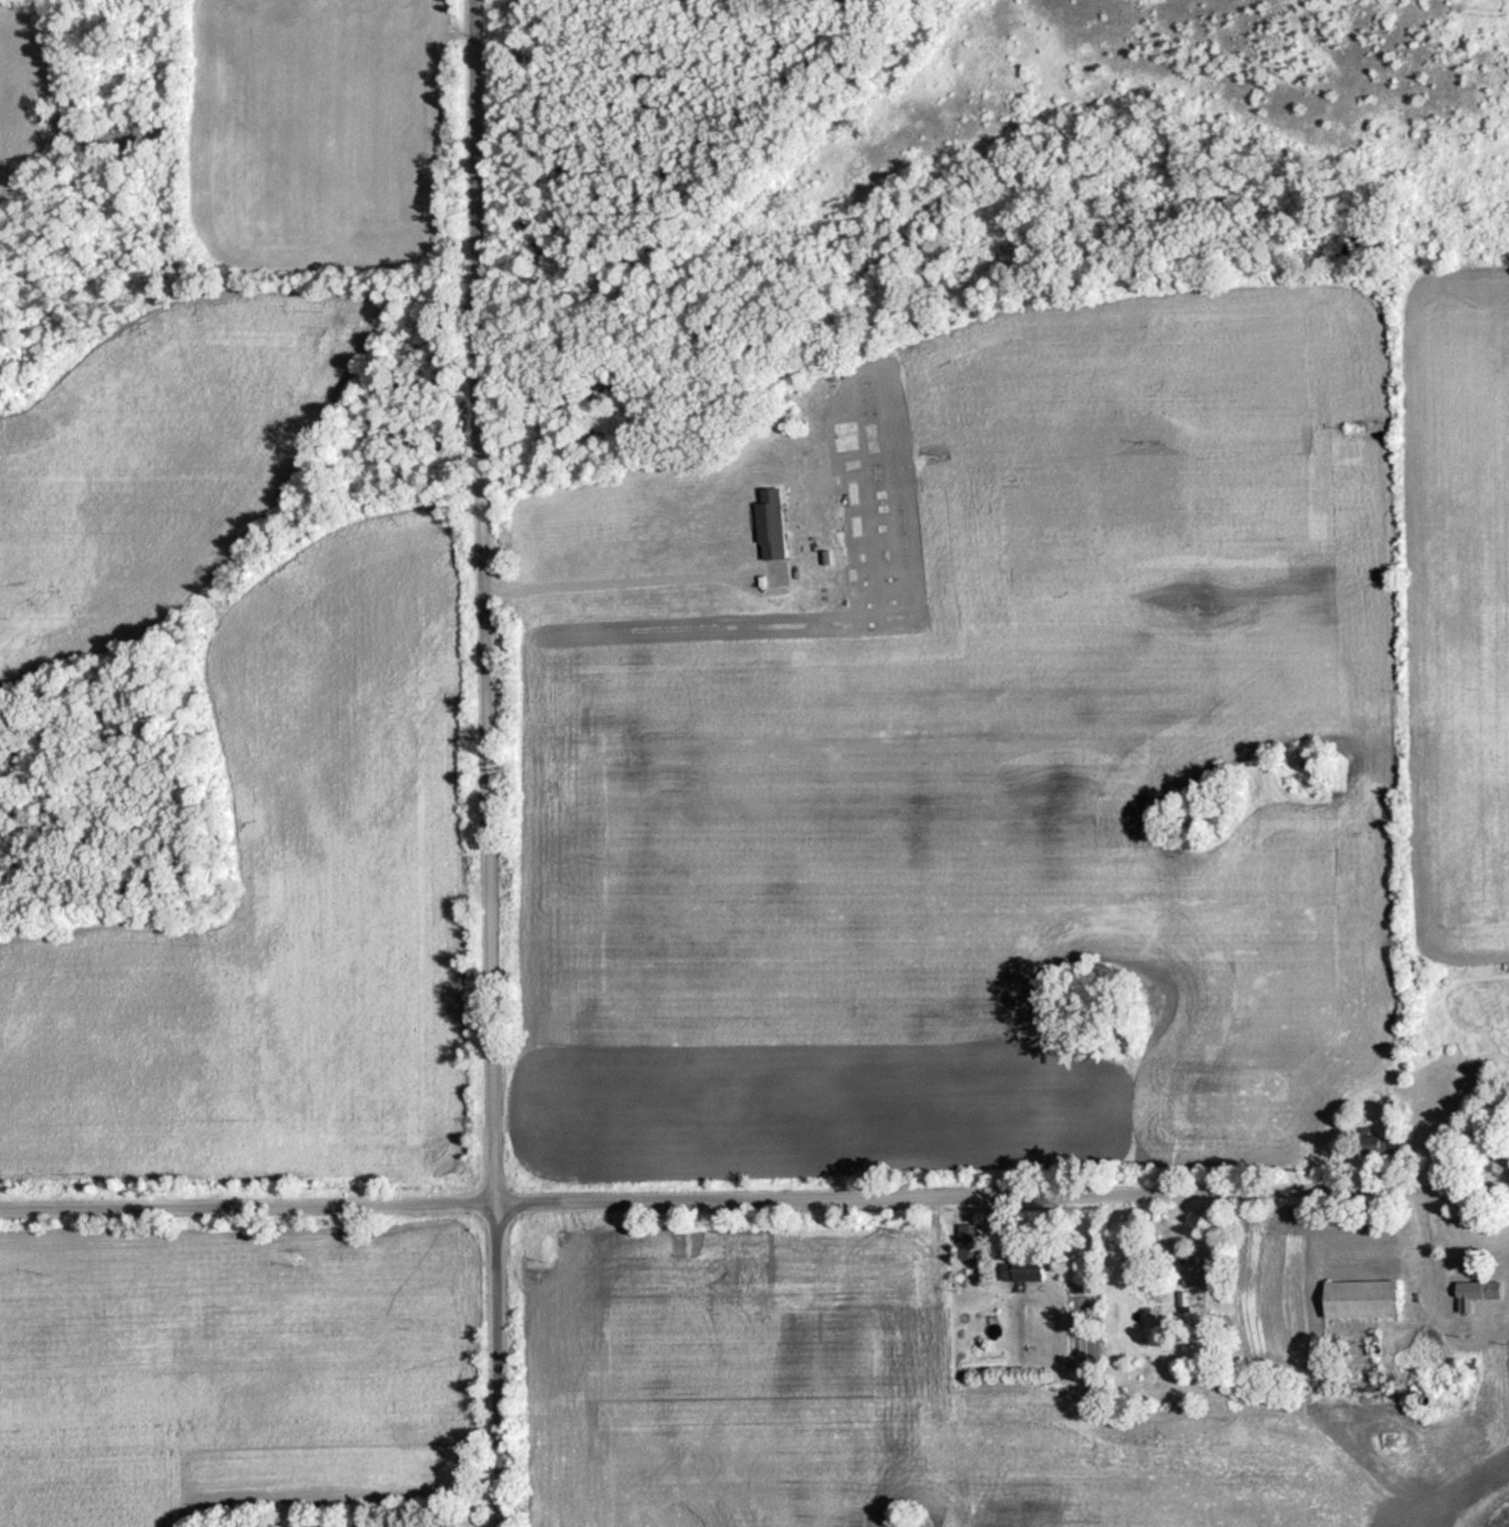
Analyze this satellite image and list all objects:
building: (774, 524)
road: (488, 763)
road: (754, 1204)
building: (973, 1243)
building: (1028, 1271)
building: (1201, 1272)
building: (1486, 1291)
building: (1366, 1300)

